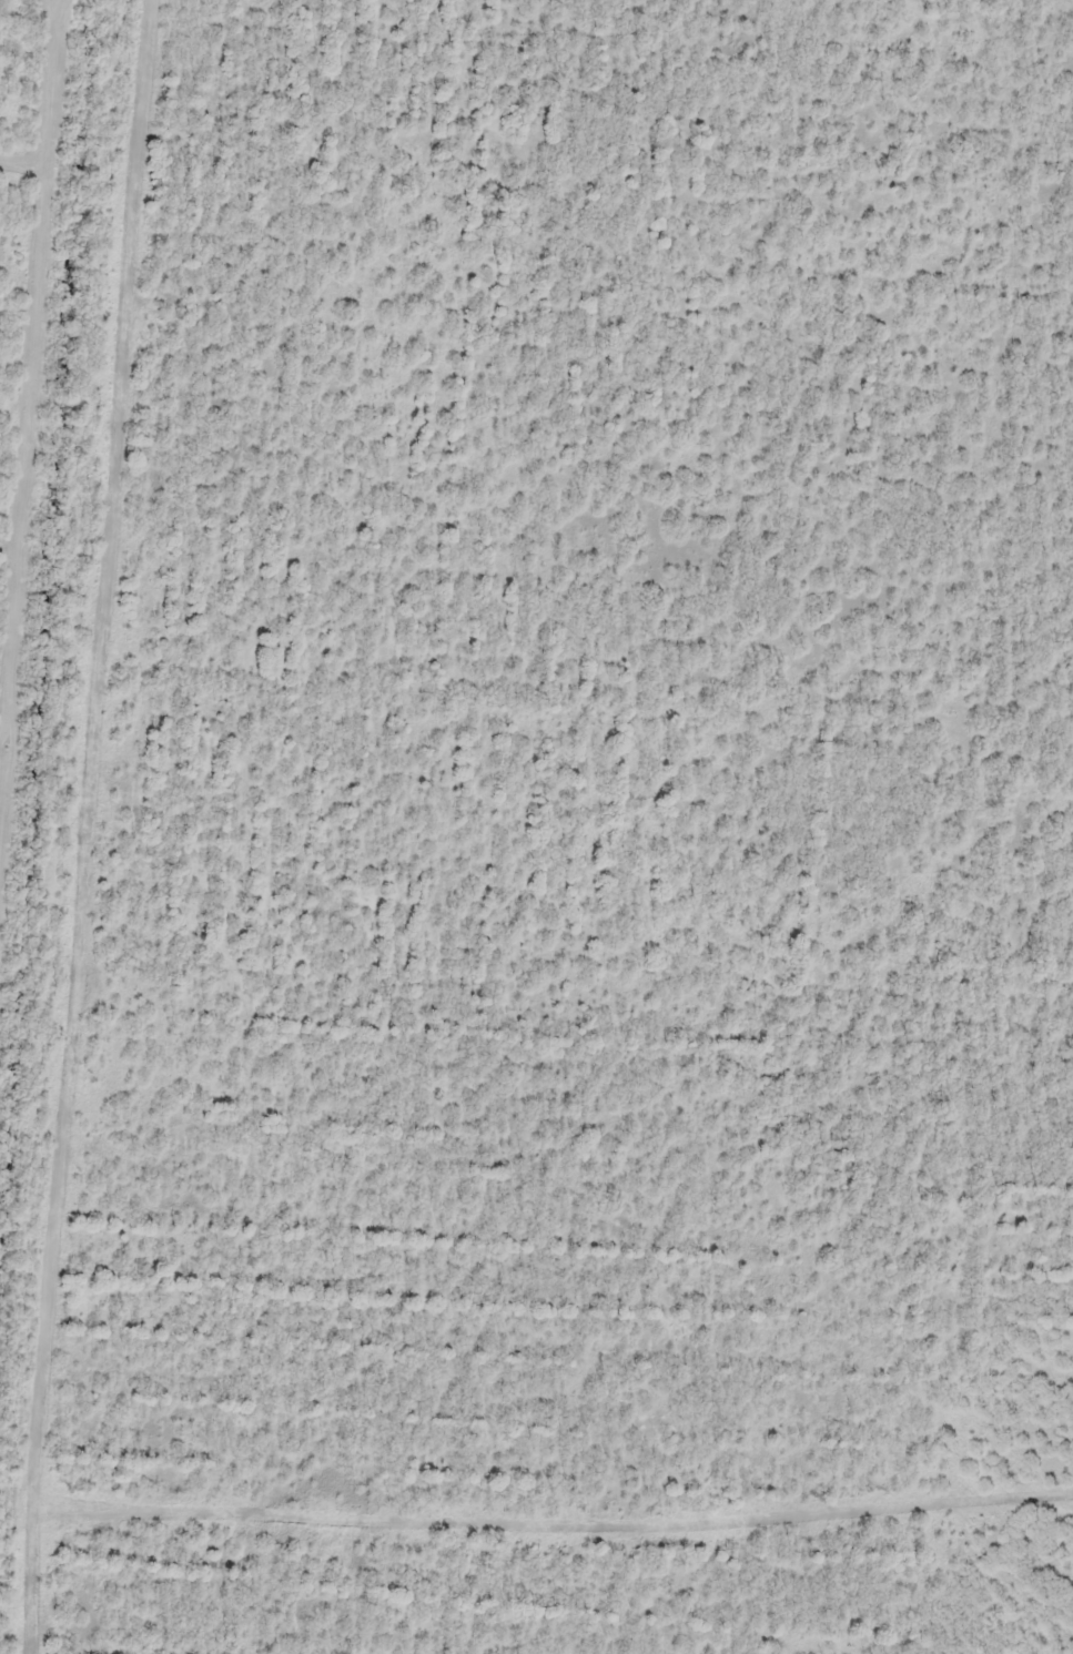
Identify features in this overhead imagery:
road: (14, 237)
road: (94, 744)

